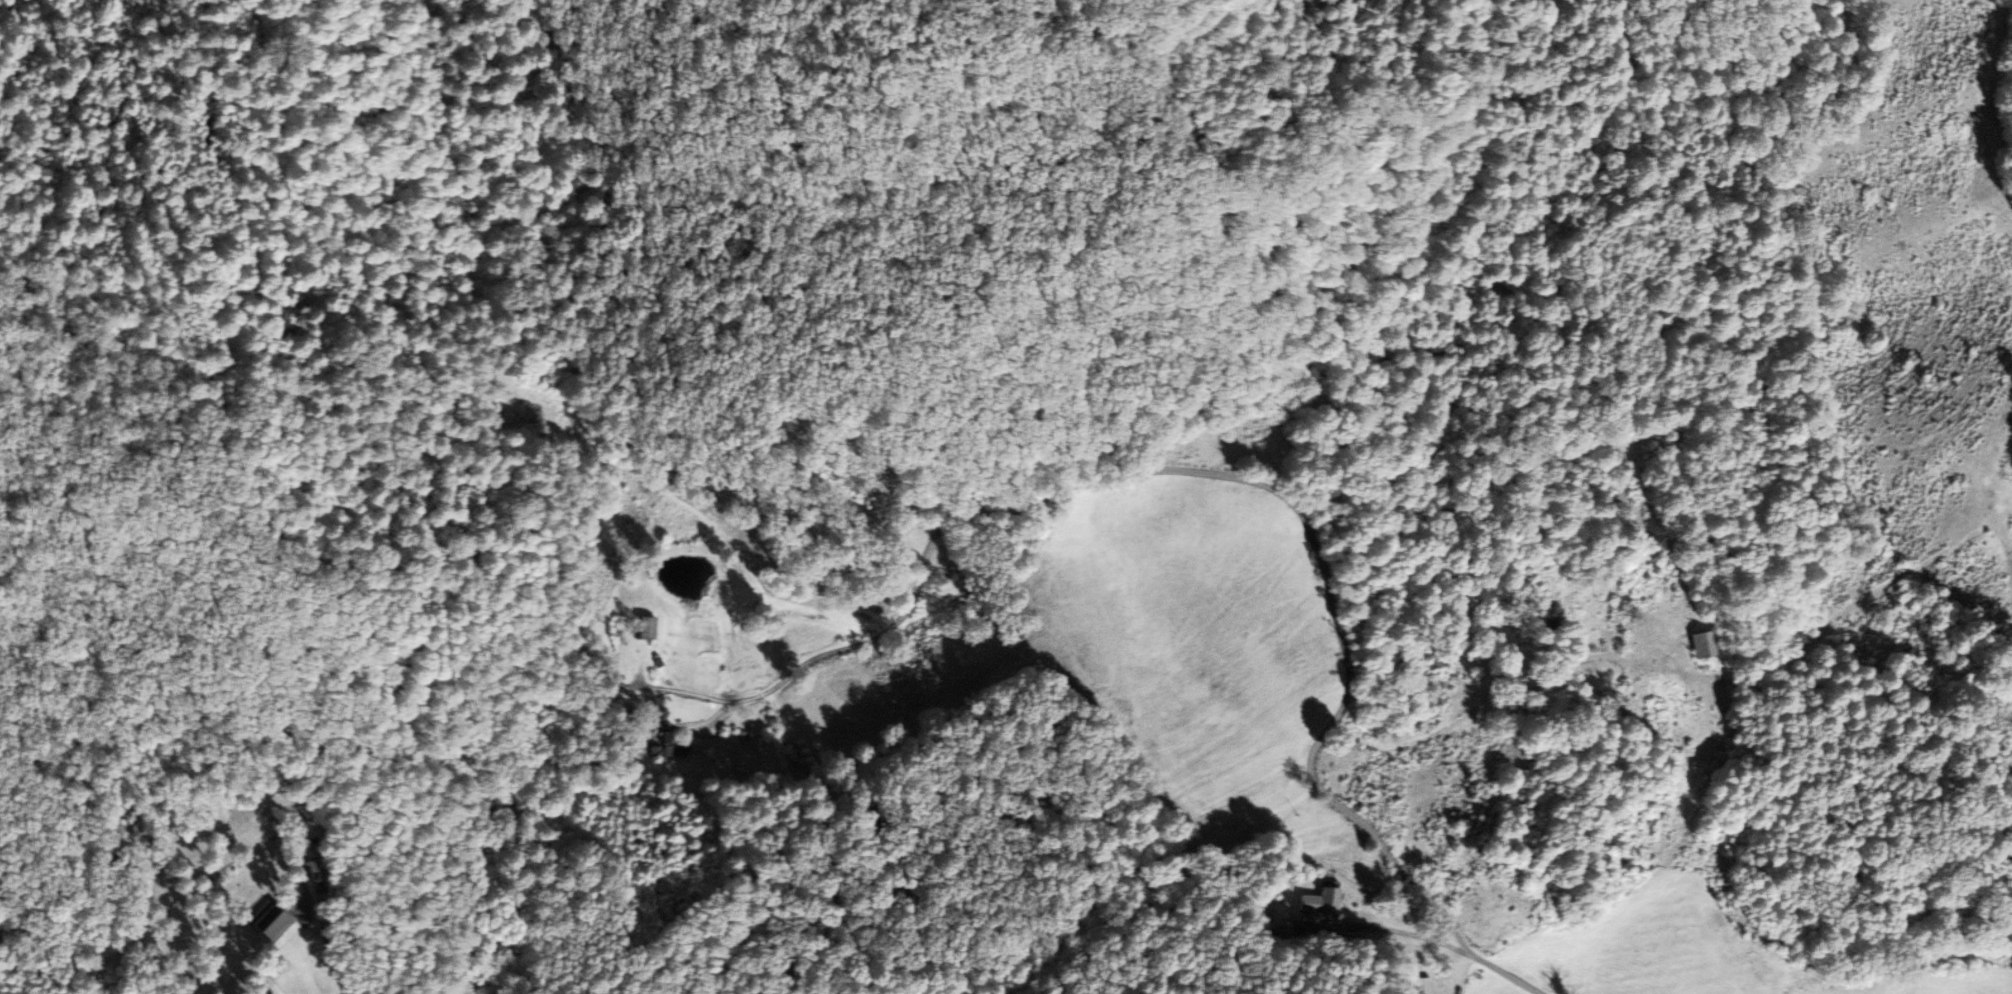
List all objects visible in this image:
road: (1035, 537)
building: (1689, 645)
road: (1399, 742)
building: (314, 873)
building: (1323, 901)
building: (274, 921)

